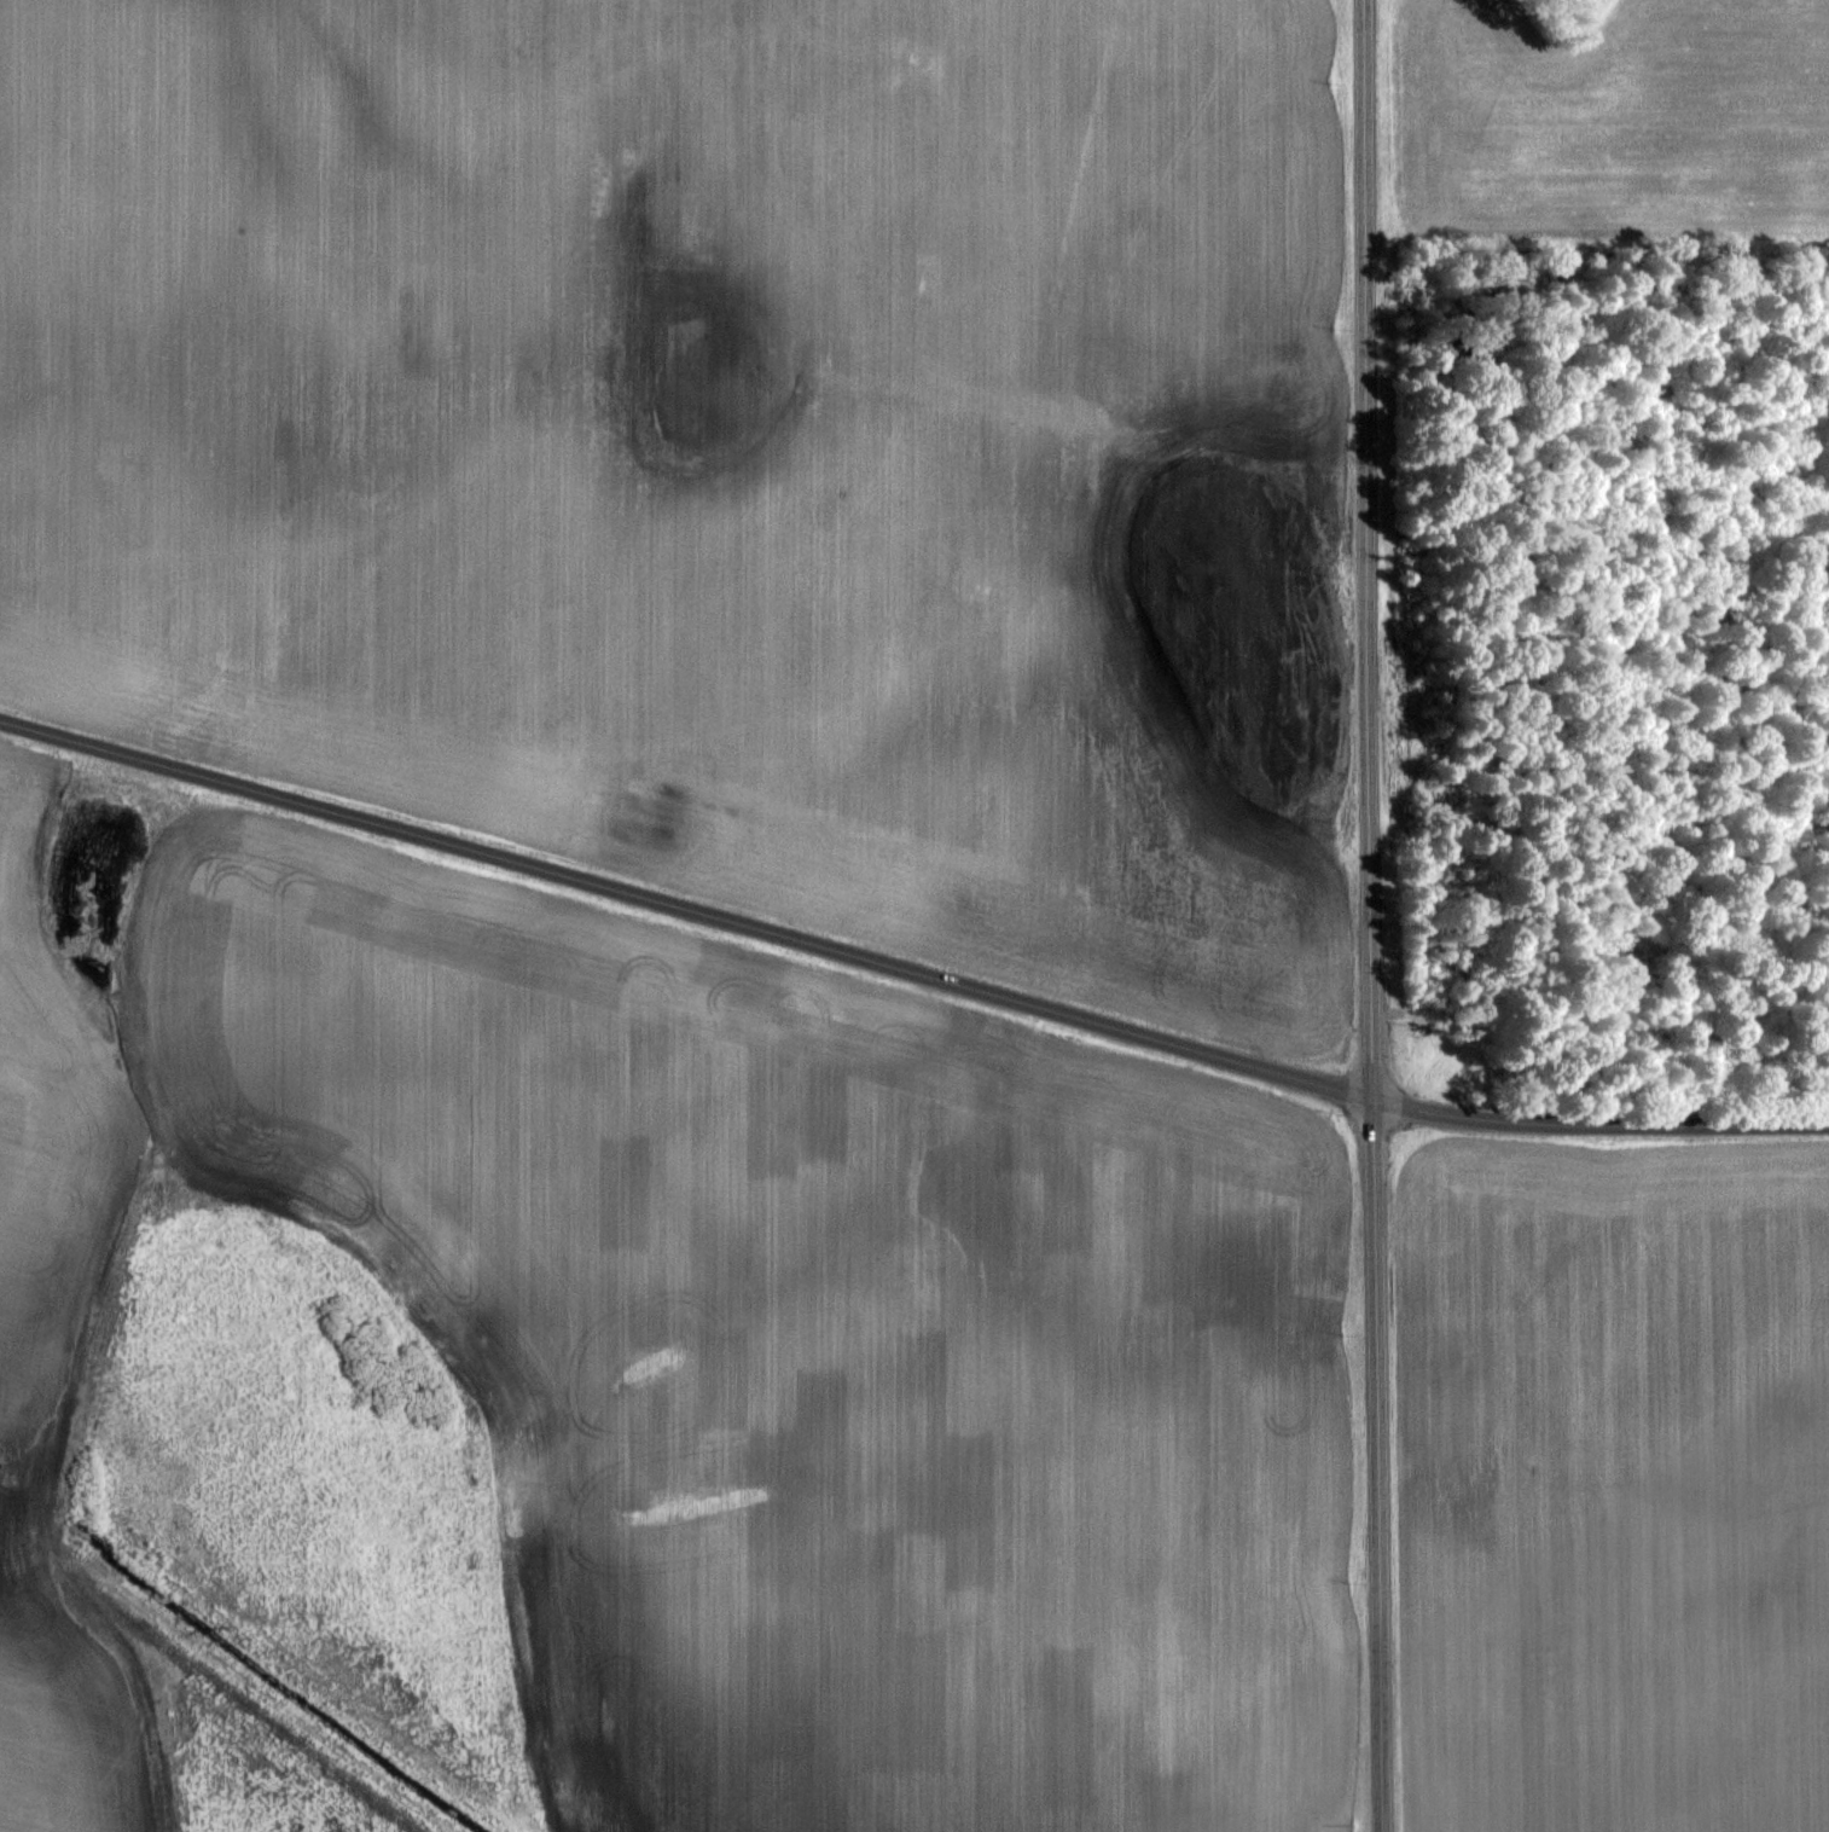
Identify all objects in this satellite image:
road: (1370, 916)
road: (907, 970)

